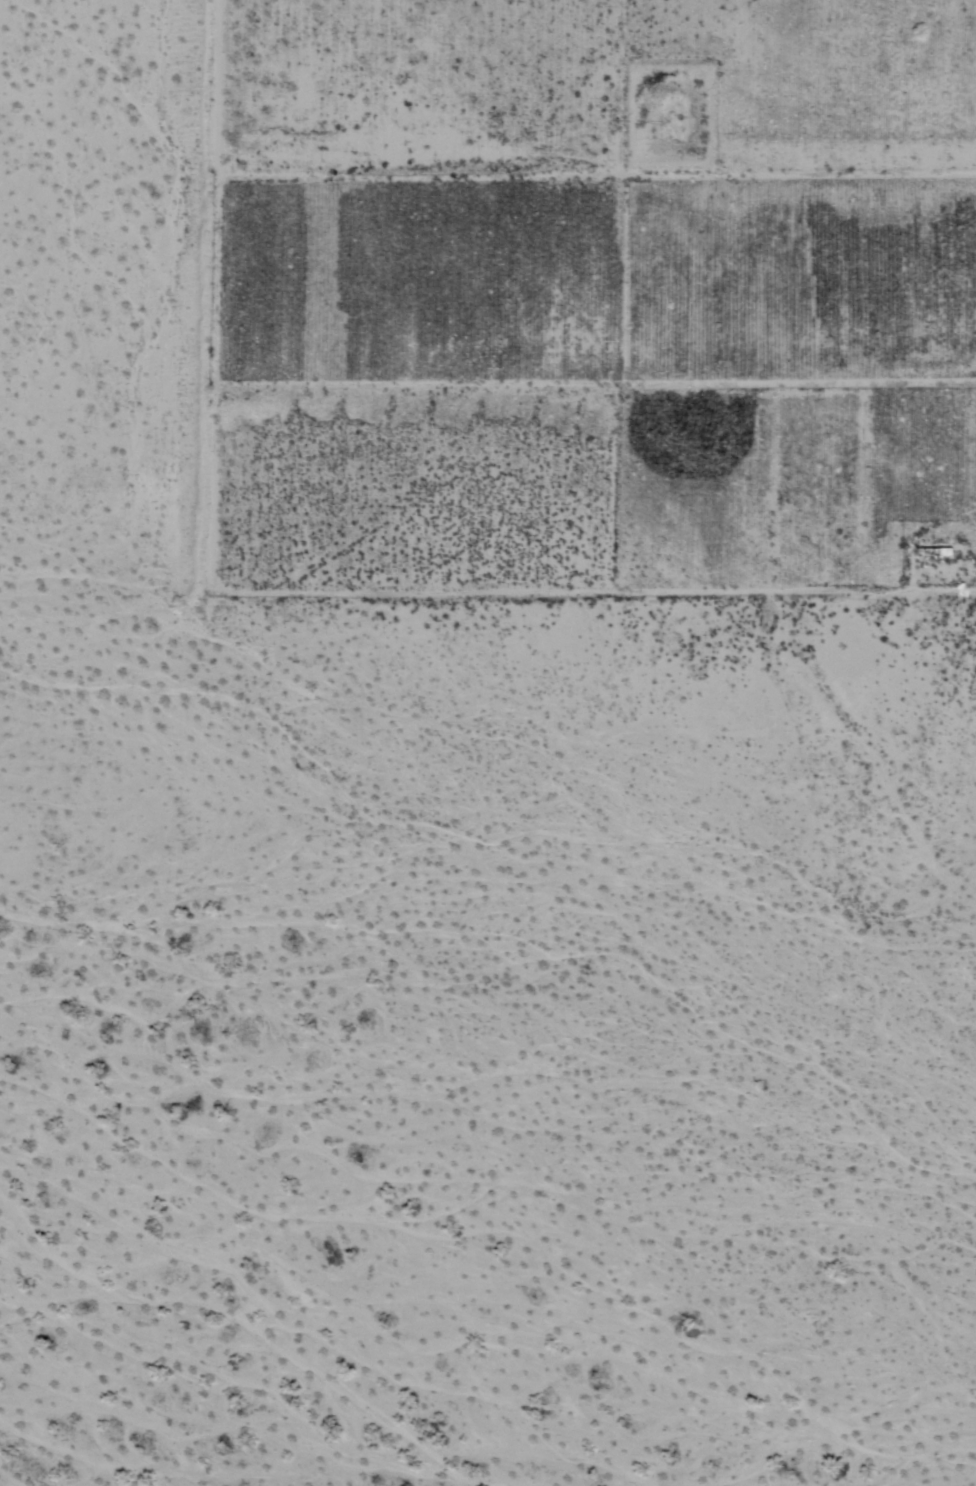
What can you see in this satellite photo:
building: (937, 551)

